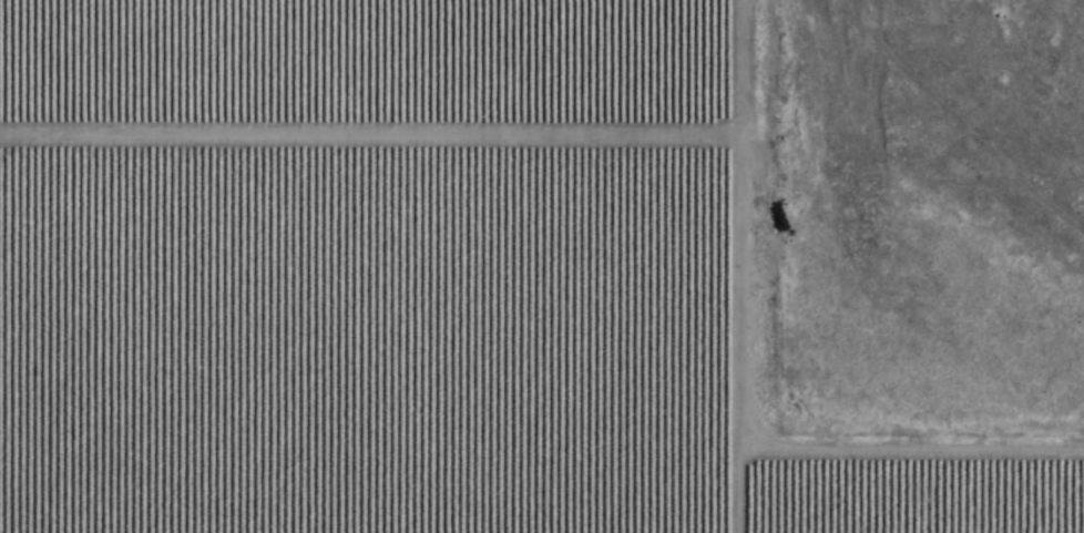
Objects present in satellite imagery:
crop: (407, 280)

